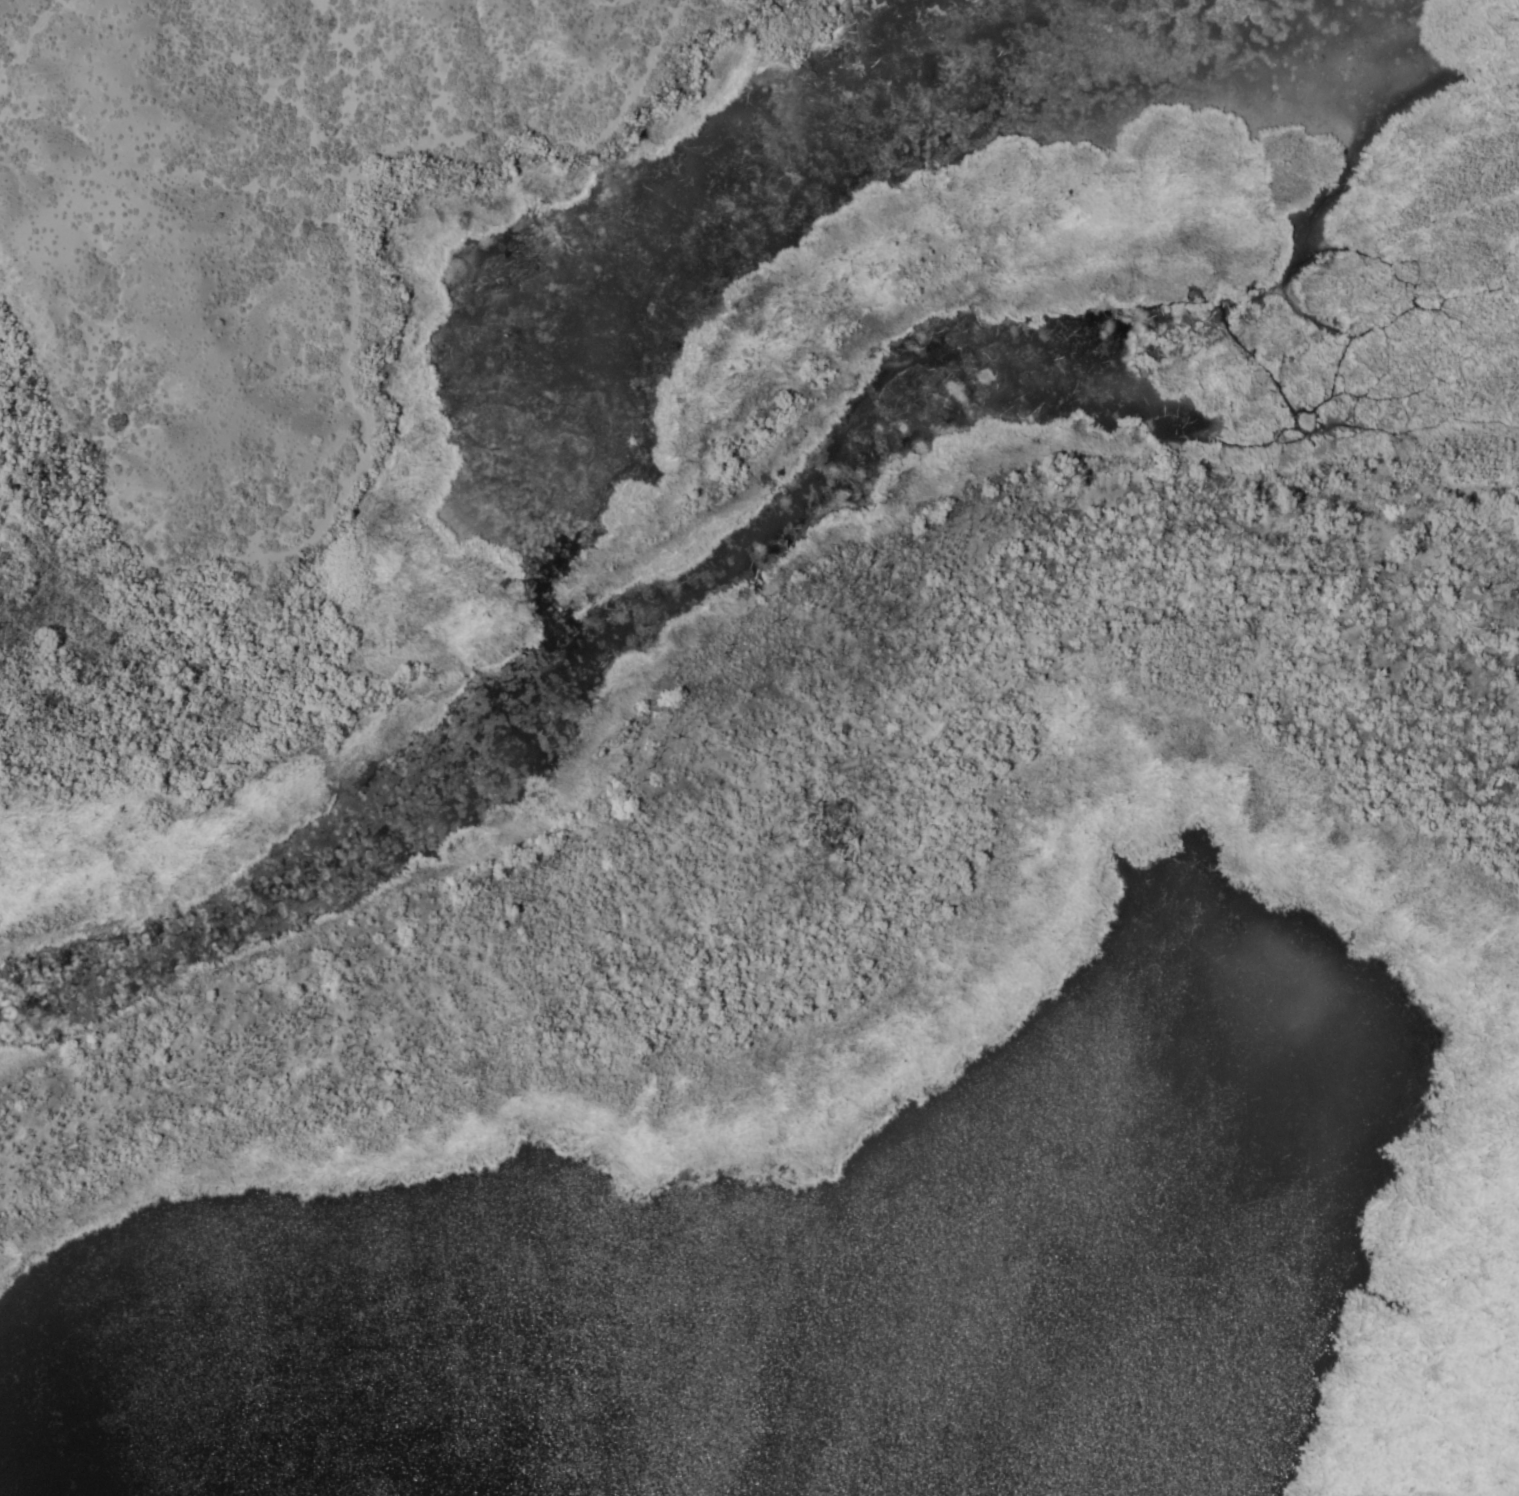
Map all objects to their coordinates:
road: (340, 321)

